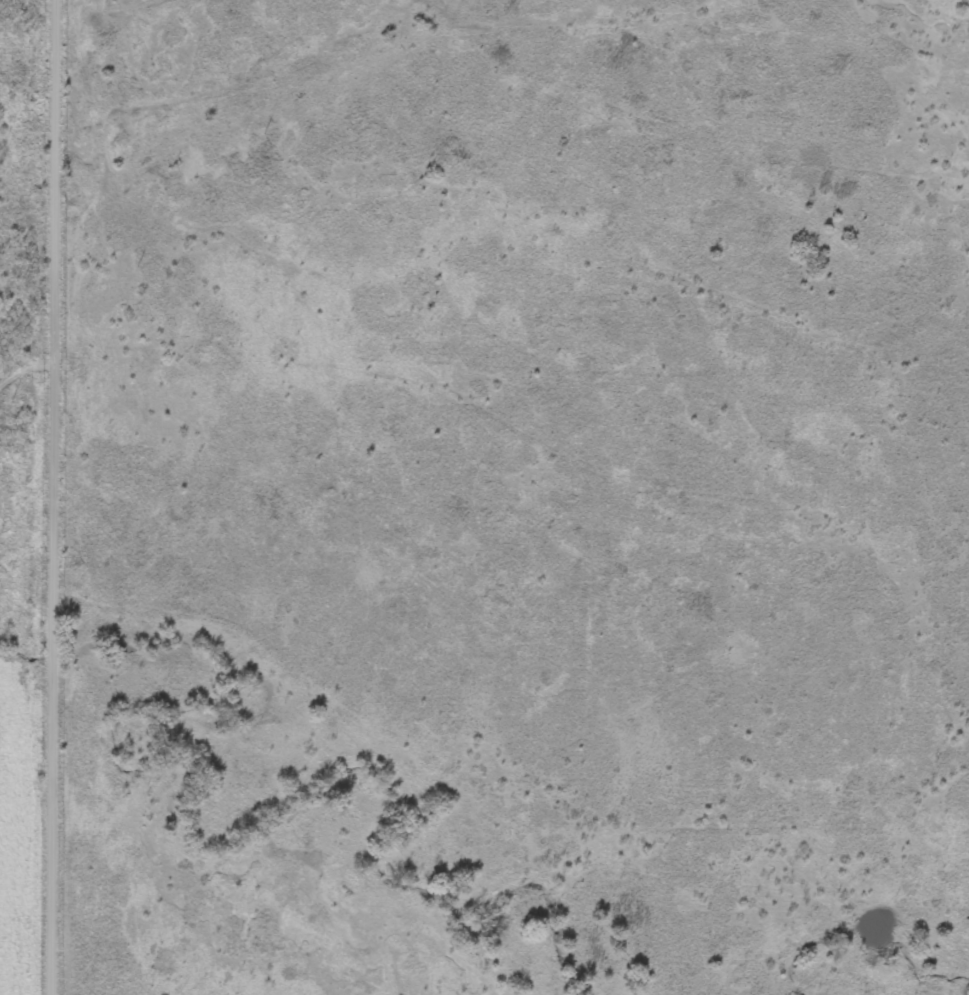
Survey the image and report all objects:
road: (55, 497)

